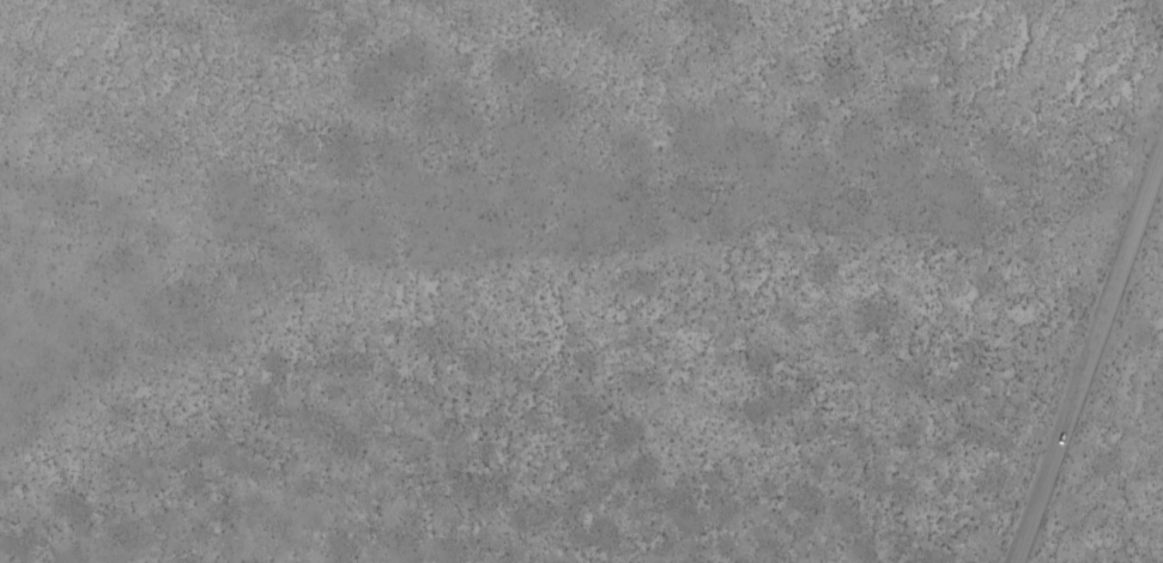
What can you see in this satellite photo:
road: (1092, 364)

